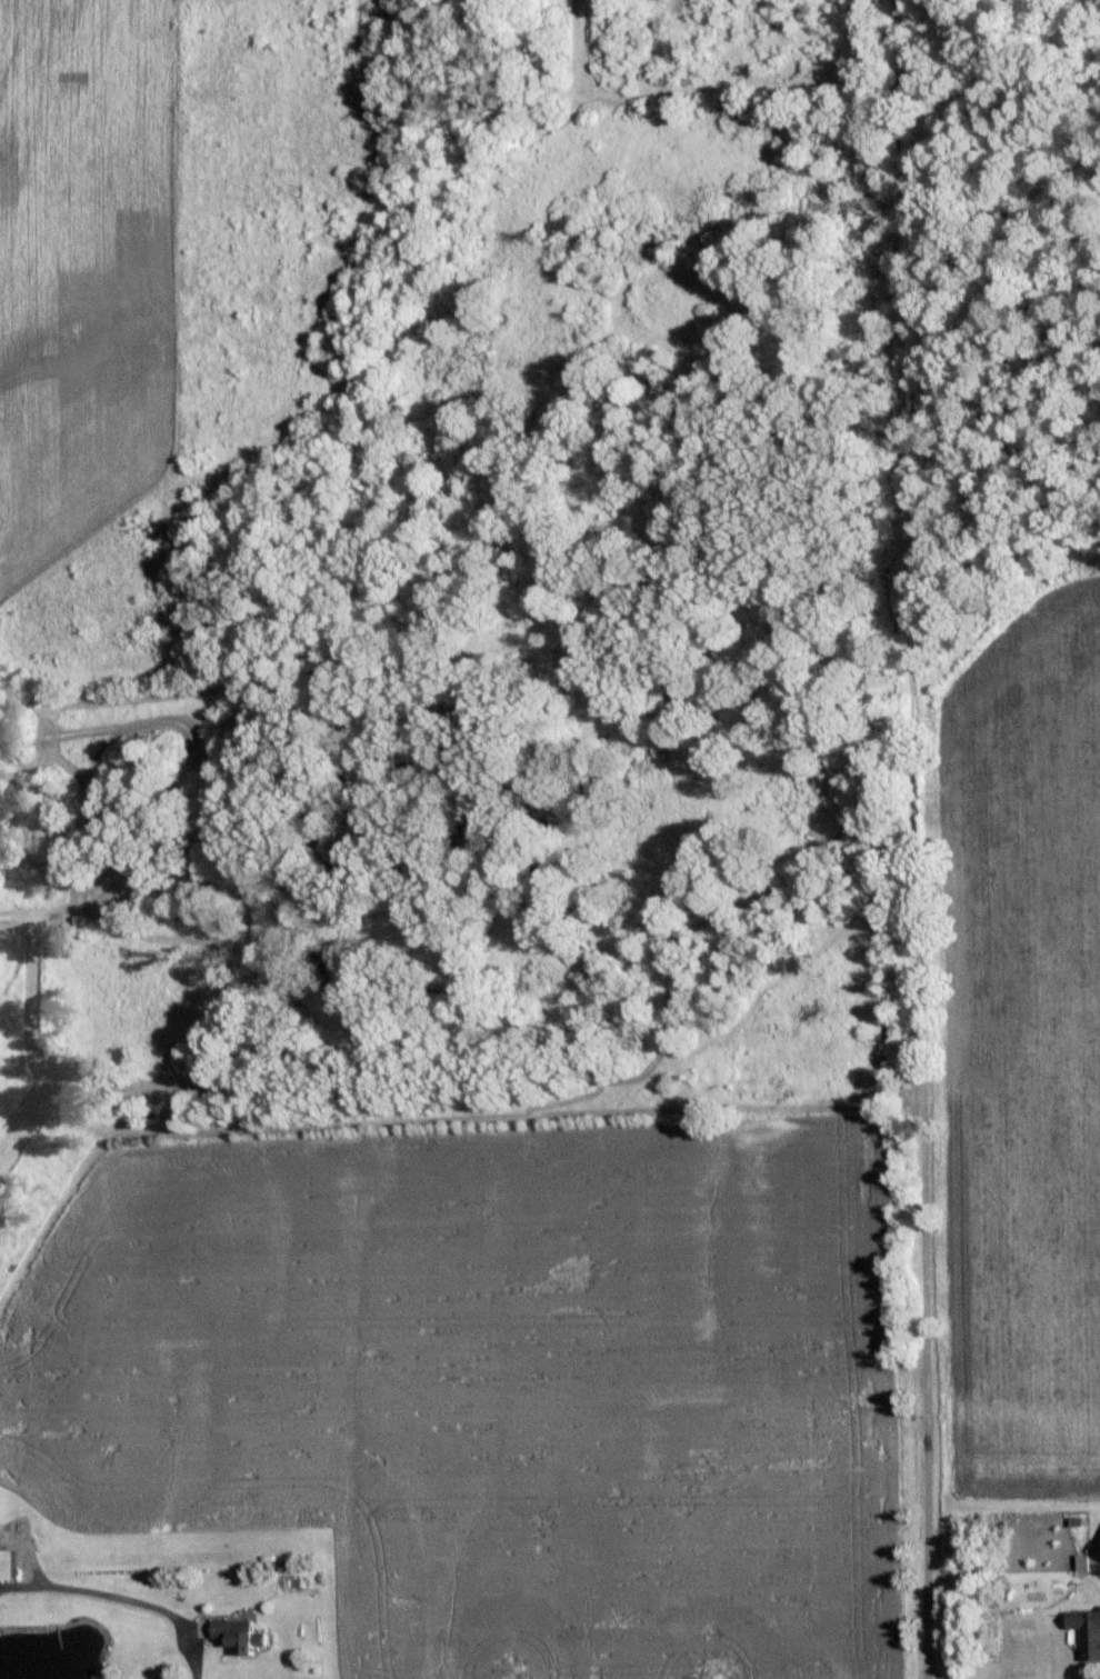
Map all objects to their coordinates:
road: (910, 1137)
building: (9, 1558)
building: (1086, 1561)
road: (140, 1601)
building: (1088, 1630)
building: (242, 1632)

